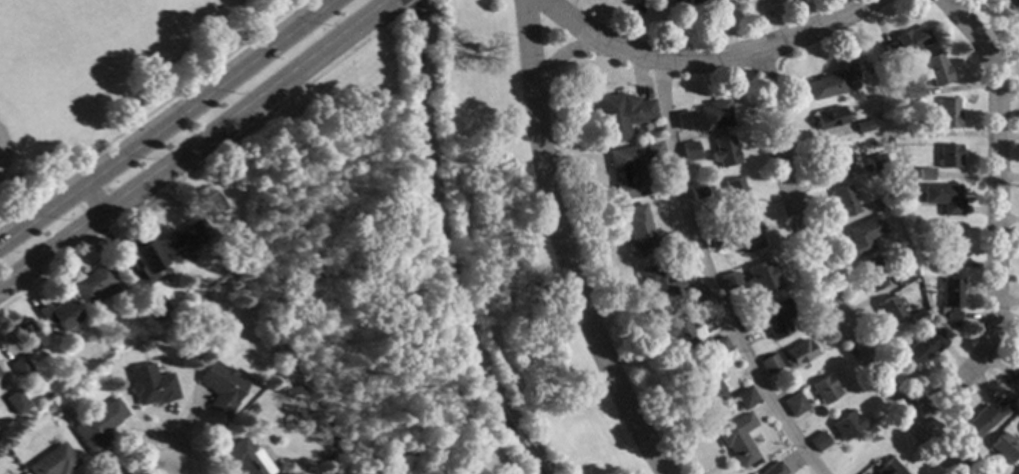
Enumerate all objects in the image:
road: (390, 1)
building: (667, 1)
building: (699, 1)
building: (1012, 5)
road: (393, 13)
building: (905, 43)
road: (555, 56)
road: (702, 61)
building: (936, 70)
park: (103, 76)
building: (831, 83)
building: (911, 92)
road: (148, 111)
building: (947, 113)
building: (621, 115)
building: (705, 117)
building: (828, 118)
road: (167, 120)
park: (30, 125)
building: (863, 126)
building: (924, 132)
road: (195, 145)
building: (652, 151)
building: (689, 151)
building: (723, 151)
building: (948, 156)
building: (835, 160)
building: (876, 162)
road: (190, 169)
building: (628, 172)
building: (924, 174)
building: (909, 188)
building: (697, 193)
building: (736, 194)
building: (943, 197)
road: (89, 199)
building: (887, 200)
building: (843, 201)
building: (210, 202)
road: (7, 212)
road: (997, 218)
building: (637, 230)
building: (863, 234)
building: (746, 235)
building: (714, 238)
building: (182, 239)
building: (668, 244)
road: (561, 246)
building: (950, 247)
building: (144, 256)
park: (421, 257)
building: (872, 275)
building: (901, 277)
building: (761, 278)
road: (706, 279)
building: (660, 281)
building: (728, 281)
building: (91, 283)
road: (823, 284)
building: (122, 294)
building: (693, 294)
building: (950, 300)
building: (154, 307)
building: (889, 310)
building: (59, 314)
building: (917, 317)
building: (775, 318)
building: (746, 323)
building: (25, 334)
building: (679, 335)
building: (924, 346)
building: (716, 347)
building: (798, 352)
building: (768, 364)
building: (20, 367)
building: (1016, 378)
building: (150, 385)
building: (220, 386)
building: (705, 389)
building: (824, 389)
building: (44, 396)
building: (743, 397)
building: (15, 402)
building: (793, 404)
building: (985, 417)
building: (97, 426)
building: (846, 426)
building: (737, 439)
building: (818, 441)
building: (1003, 447)
building: (244, 458)
building: (52, 461)
road: (143, 461)
road: (169, 461)
building: (888, 468)
building: (773, 469)
building: (1018, 473)

